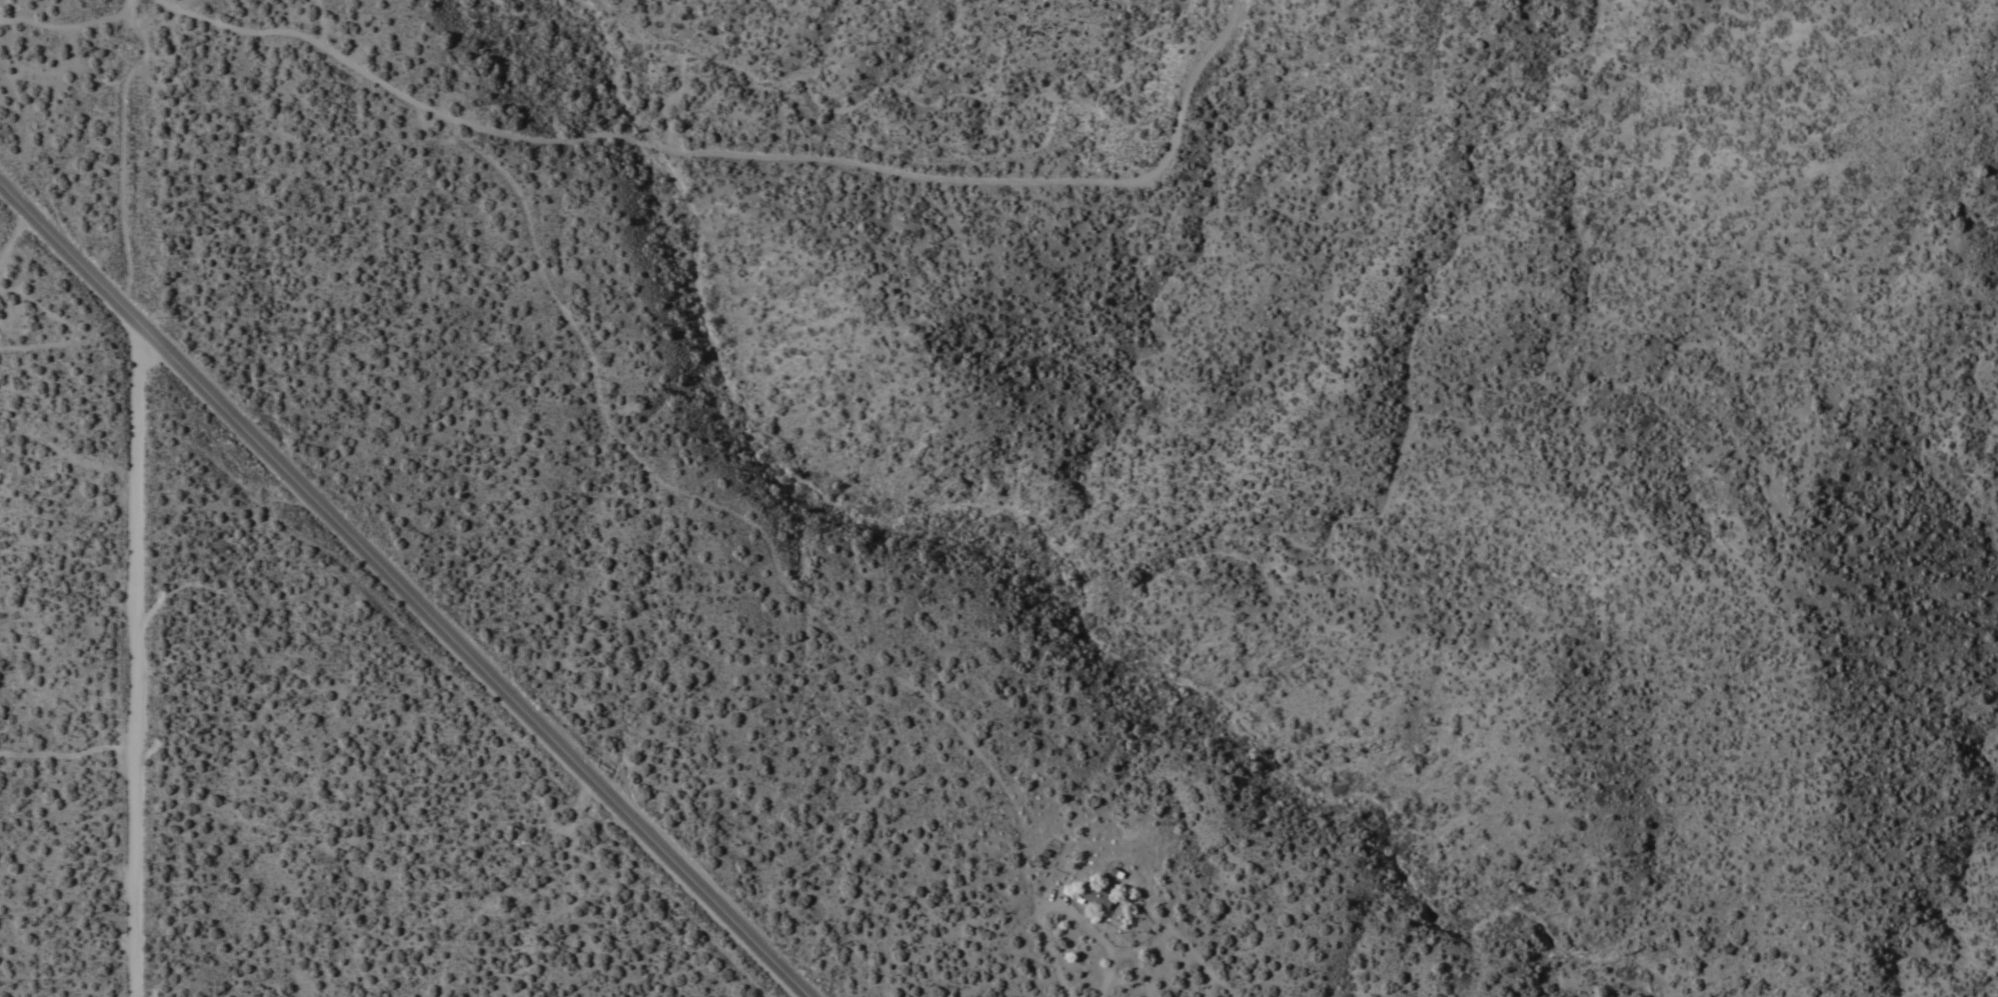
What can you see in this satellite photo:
road: (253, 26)
road: (735, 216)
road: (15, 234)
road: (405, 588)
road: (137, 657)
road: (69, 757)
building: (1097, 893)
road: (1062, 902)

